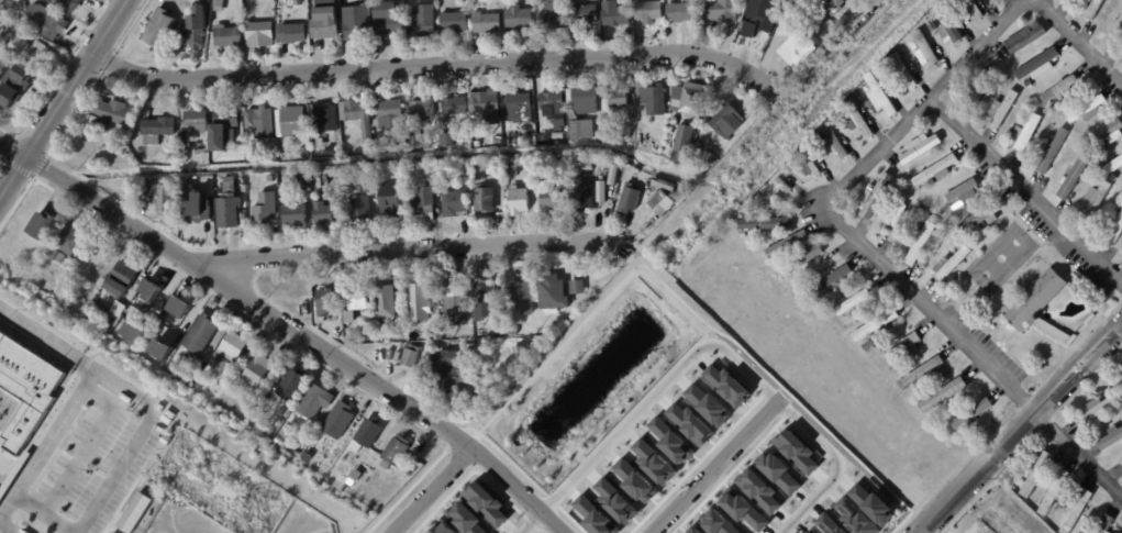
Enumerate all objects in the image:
building: (205, 1)
building: (297, 2)
building: (67, 4)
building: (804, 4)
building: (218, 5)
building: (831, 5)
building: (1093, 9)
building: (973, 10)
building: (647, 11)
building: (721, 11)
building: (679, 12)
building: (614, 13)
building: (584, 14)
building: (552, 15)
building: (518, 16)
building: (755, 18)
road: (867, 18)
building: (386, 19)
building: (324, 20)
building: (44, 21)
building: (486, 21)
building: (356, 22)
building: (421, 22)
building: (454, 22)
building: (949, 24)
building: (1115, 24)
building: (159, 27)
building: (195, 29)
building: (259, 33)
building: (291, 33)
building: (227, 37)
building: (1025, 37)
road: (1079, 41)
building: (914, 46)
building: (41, 47)
building: (798, 48)
building: (925, 51)
building: (29, 54)
road: (440, 62)
building: (1037, 67)
building: (903, 70)
building: (979, 86)
building: (1060, 88)
building: (10, 95)
building: (879, 96)
building: (618, 98)
building: (692, 99)
road: (922, 99)
road: (63, 100)
building: (580, 101)
building: (653, 101)
building: (552, 103)
building: (453, 106)
building: (485, 107)
building: (422, 108)
building: (520, 109)
building: (1002, 109)
building: (1088, 110)
building: (388, 114)
building: (107, 115)
building: (357, 121)
building: (674, 121)
building: (195, 122)
building: (291, 122)
building: (729, 122)
building: (260, 123)
building: (857, 123)
building: (158, 126)
building: (324, 129)
building: (581, 130)
building: (222, 131)
building: (1027, 133)
building: (543, 135)
building: (557, 135)
building: (1108, 135)
building: (413, 138)
building: (445, 140)
building: (500, 140)
building: (531, 140)
building: (182, 141)
building: (115, 143)
building: (836, 143)
building: (427, 144)
building: (682, 144)
building: (382, 146)
building: (400, 147)
building: (920, 148)
building: (201, 152)
building: (303, 152)
building: (1052, 152)
building: (127, 153)
building: (184, 155)
building: (809, 163)
building: (619, 166)
building: (1113, 166)
building: (911, 169)
building: (491, 170)
building: (433, 171)
building: (936, 171)
building: (1090, 171)
building: (401, 176)
building: (1074, 177)
building: (286, 178)
building: (269, 179)
building: (1082, 179)
building: (932, 181)
building: (664, 184)
building: (144, 187)
road: (1025, 189)
building: (187, 190)
building: (785, 190)
building: (964, 191)
building: (584, 192)
building: (875, 197)
building: (548, 199)
building: (165, 200)
building: (389, 200)
building: (484, 200)
building: (1095, 200)
building: (423, 201)
building: (518, 201)
building: (629, 201)
building: (660, 203)
building: (455, 204)
building: (227, 206)
building: (264, 207)
building: (358, 208)
building: (189, 209)
building: (295, 213)
building: (323, 213)
building: (896, 213)
building: (920, 213)
building: (982, 215)
building: (500, 219)
building: (767, 223)
building: (921, 226)
building: (43, 227)
building: (1114, 233)
building: (751, 235)
building: (69, 241)
building: (786, 244)
building: (918, 244)
road: (407, 247)
building: (60, 258)
building: (807, 258)
building: (951, 264)
building: (777, 266)
building: (796, 276)
building: (1077, 277)
building: (119, 279)
building: (831, 280)
building: (498, 284)
building: (153, 291)
road: (235, 291)
building: (552, 293)
building: (577, 293)
building: (838, 293)
building: (522, 298)
building: (355, 299)
building: (385, 302)
building: (484, 302)
road: (931, 302)
building: (325, 303)
building: (419, 303)
building: (852, 303)
building: (454, 306)
building: (1040, 306)
building: (116, 309)
building: (97, 311)
building: (854, 312)
building: (175, 314)
building: (348, 318)
building: (876, 326)
road: (31, 327)
building: (377, 327)
building: (133, 331)
building: (512, 332)
building: (201, 334)
building: (366, 335)
building: (436, 335)
building: (402, 340)
road: (709, 343)
building: (868, 346)
building: (469, 347)
building: (903, 347)
building: (160, 348)
building: (227, 353)
road: (74, 357)
building: (151, 357)
building: (186, 359)
building: (408, 360)
building: (467, 360)
building: (257, 370)
building: (451, 371)
building: (921, 374)
building: (291, 385)
building: (727, 385)
building: (27, 387)
building: (1111, 391)
building: (948, 395)
building: (314, 402)
building: (1099, 408)
building: (973, 413)
building: (338, 420)
road: (1020, 425)
building: (969, 426)
building: (365, 436)
building: (1111, 436)
building: (282, 440)
road: (135, 441)
road: (47, 442)
building: (395, 452)
road: (1077, 456)
building: (653, 460)
road: (714, 468)
building: (779, 471)
building: (1036, 474)
building: (355, 476)
road: (519, 488)
road: (430, 489)
building: (758, 489)
building: (1055, 491)
building: (1, 495)
building: (486, 502)
building: (873, 503)
building: (1078, 511)
building: (135, 512)
building: (855, 517)
building: (829, 524)
building: (1104, 524)
building: (693, 530)
building: (114, 532)
building: (808, 532)

